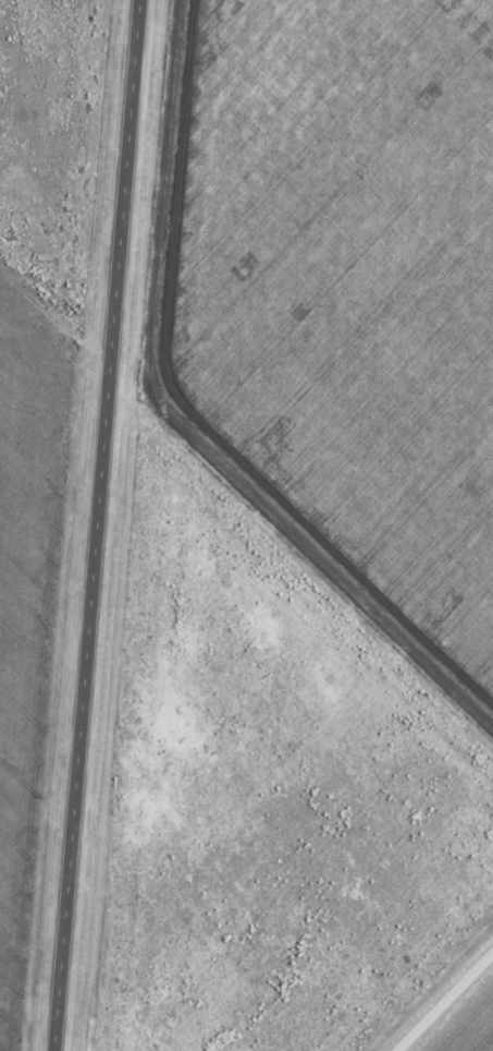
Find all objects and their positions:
road: (95, 525)
road: (445, 1002)

